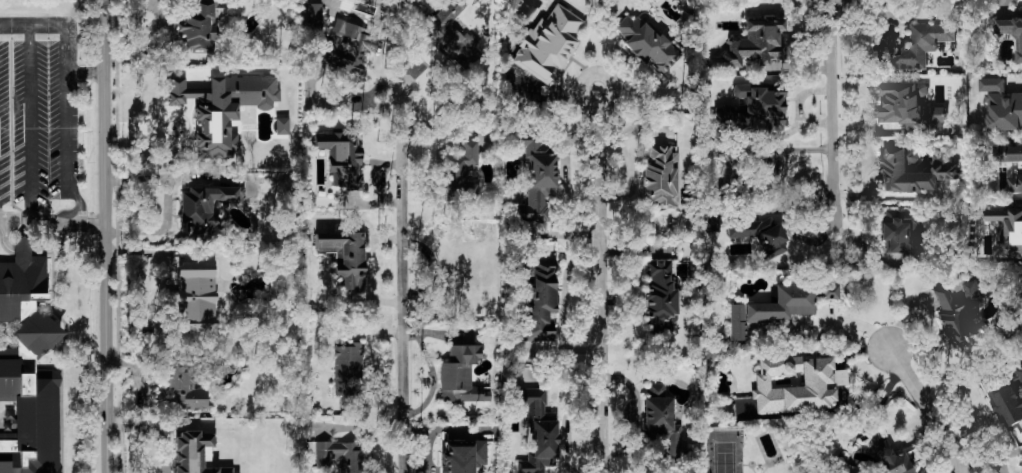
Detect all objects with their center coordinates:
building: (311, 16)
road: (58, 25)
building: (199, 27)
building: (1011, 32)
building: (449, 33)
building: (548, 44)
building: (647, 44)
building: (753, 45)
building: (910, 45)
building: (348, 46)
road: (405, 68)
road: (53, 82)
building: (1002, 105)
building: (909, 107)
building: (221, 109)
building: (750, 111)
road: (832, 112)
building: (282, 126)
road: (448, 126)
road: (29, 151)
road: (64, 154)
building: (342, 159)
building: (460, 166)
building: (767, 167)
building: (896, 167)
building: (1020, 169)
building: (660, 177)
building: (536, 178)
building: (205, 204)
road: (52, 224)
building: (1008, 231)
building: (903, 234)
building: (761, 235)
road: (105, 236)
road: (28, 249)
building: (346, 257)
road: (599, 281)
road: (402, 294)
building: (660, 296)
building: (539, 299)
building: (791, 302)
building: (958, 311)
building: (736, 323)
building: (28, 367)
building: (348, 369)
building: (1019, 371)
building: (461, 376)
building: (796, 384)
building: (186, 389)
building: (1019, 391)
building: (1007, 406)
road: (929, 410)
building: (724, 413)
building: (663, 427)
building: (538, 431)
building: (194, 453)
building: (340, 456)
building: (463, 456)
building: (912, 456)
building: (893, 462)

